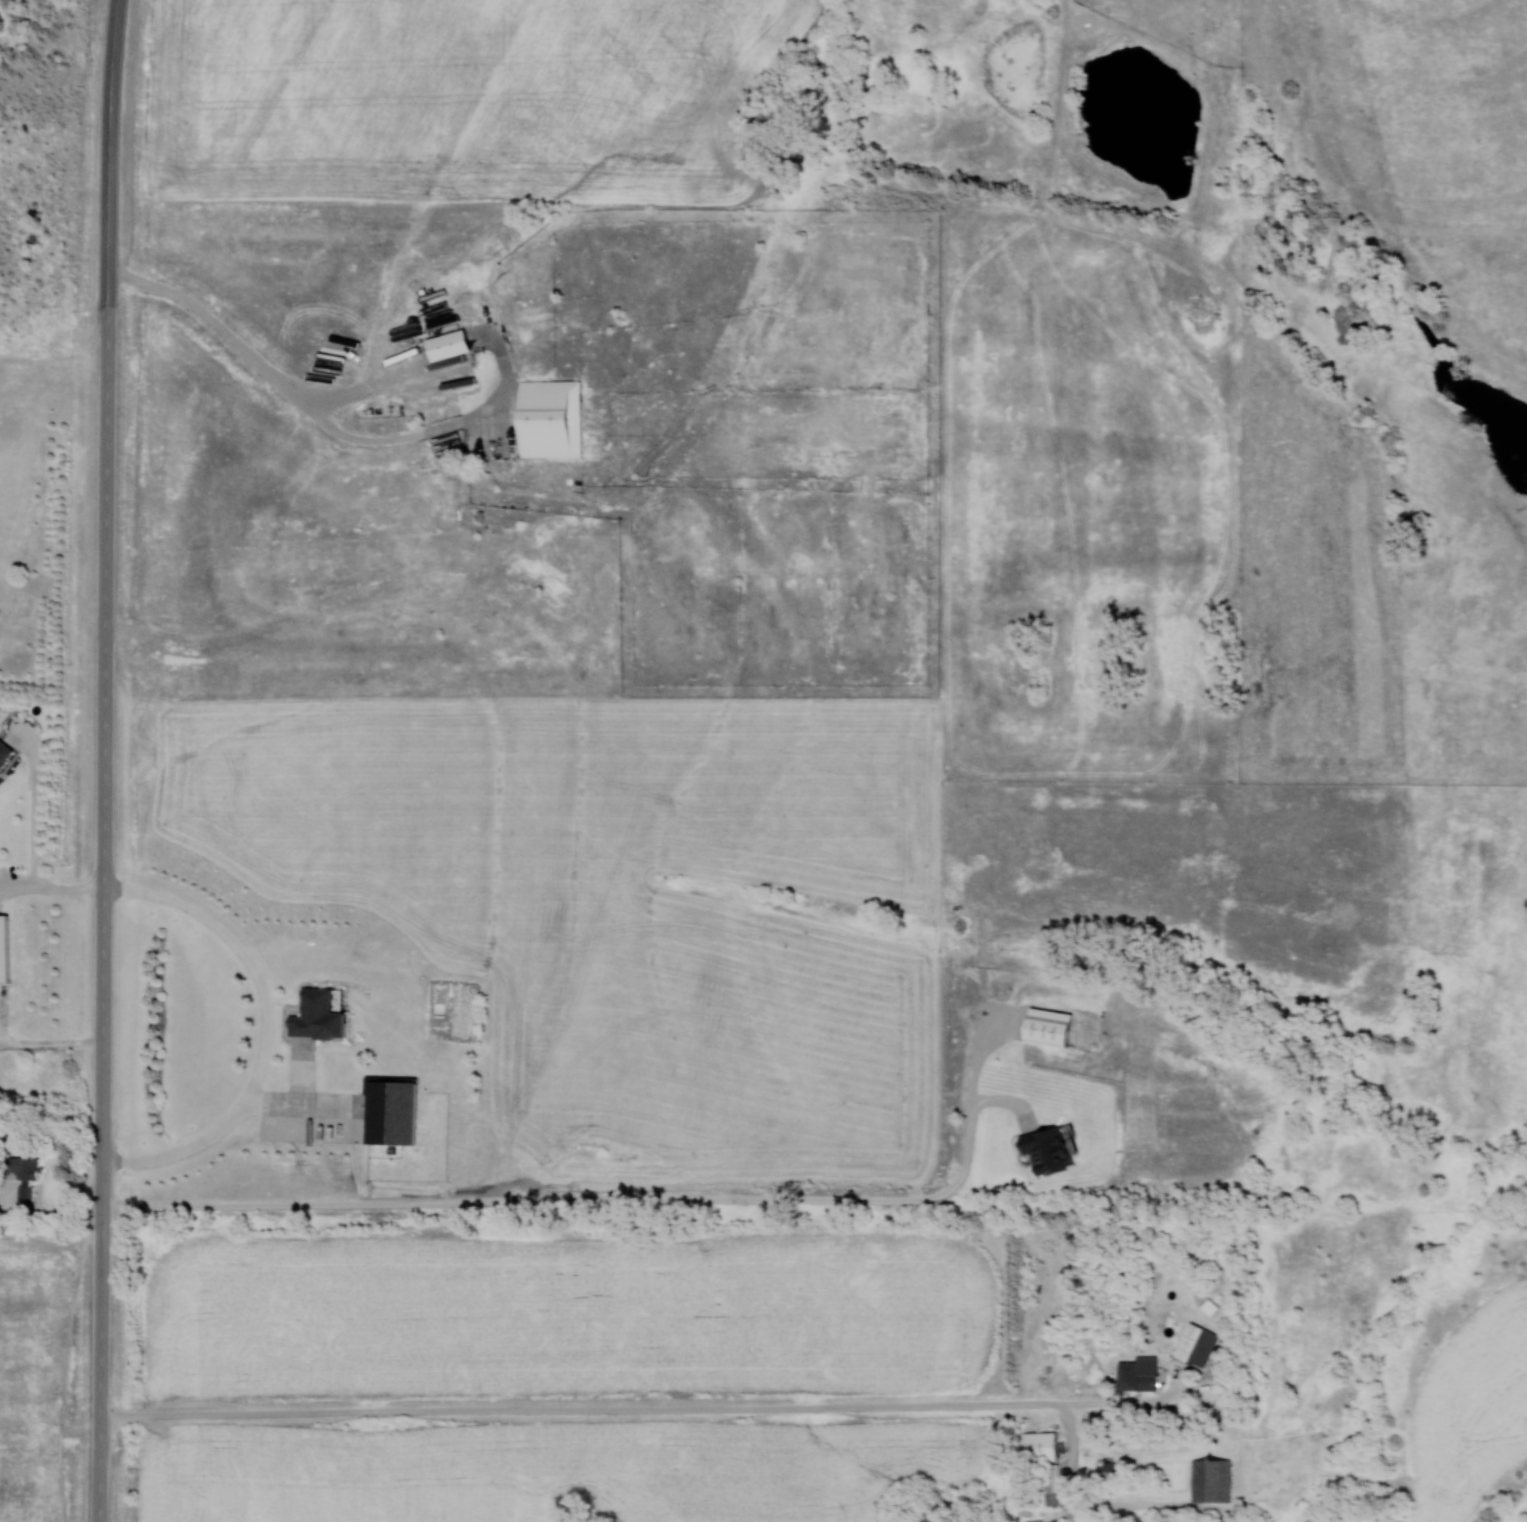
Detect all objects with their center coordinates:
building: (446, 344)
building: (548, 417)
building: (4, 751)
road: (104, 760)
building: (3, 948)
building: (315, 1015)
building: (1046, 1027)
building: (389, 1112)
building: (1045, 1150)
building: (21, 1167)
road: (574, 1200)
building: (1186, 1342)
building: (1133, 1378)
road: (620, 1410)
building: (1033, 1447)
building: (1209, 1481)
building: (1050, 1484)

